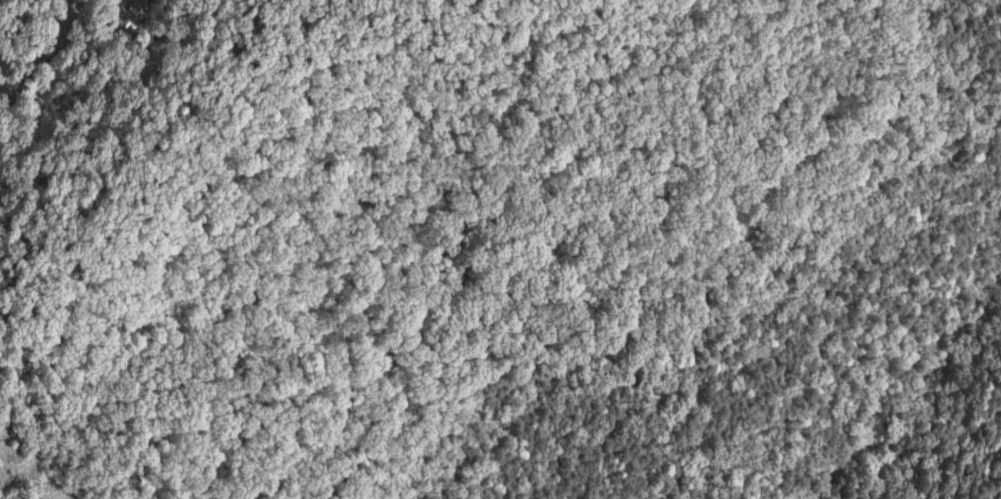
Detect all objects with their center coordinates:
building: (132, 15)
road: (62, 38)

